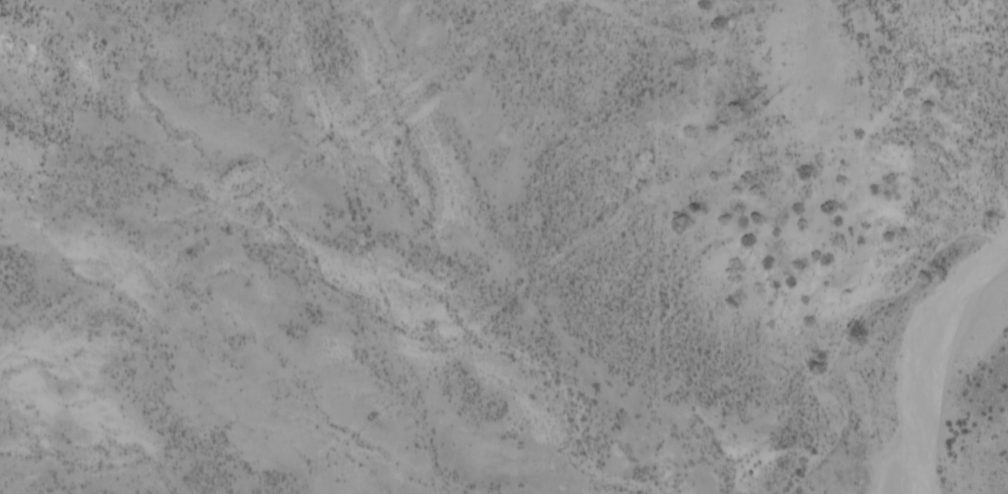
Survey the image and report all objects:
road: (684, 41)
river: (972, 453)

